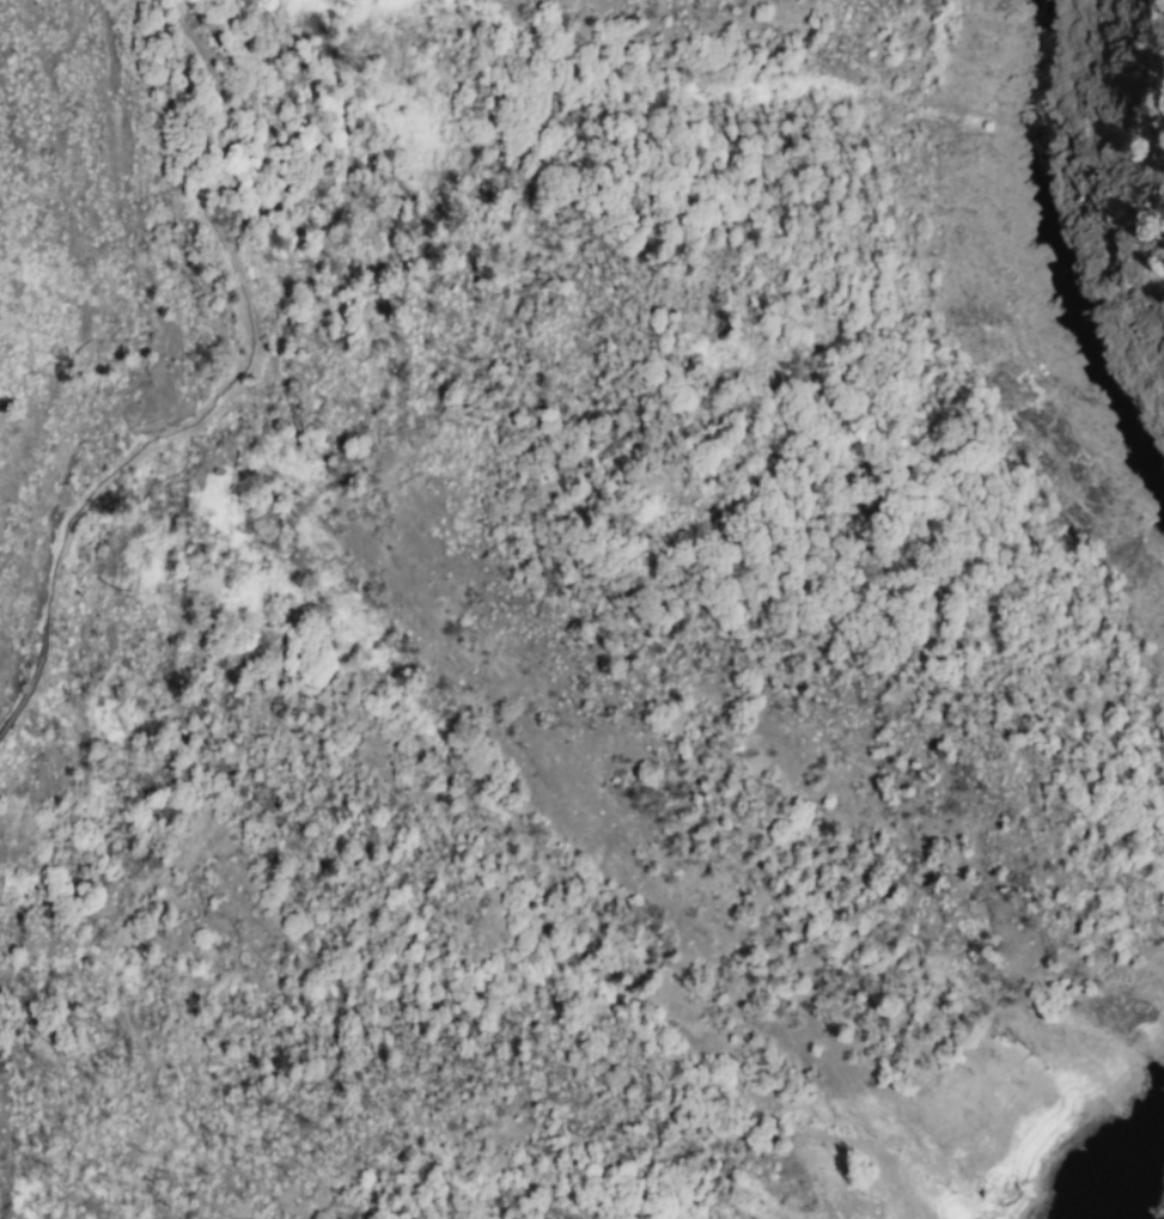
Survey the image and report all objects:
river: (1054, 255)
river: (1093, 1153)

